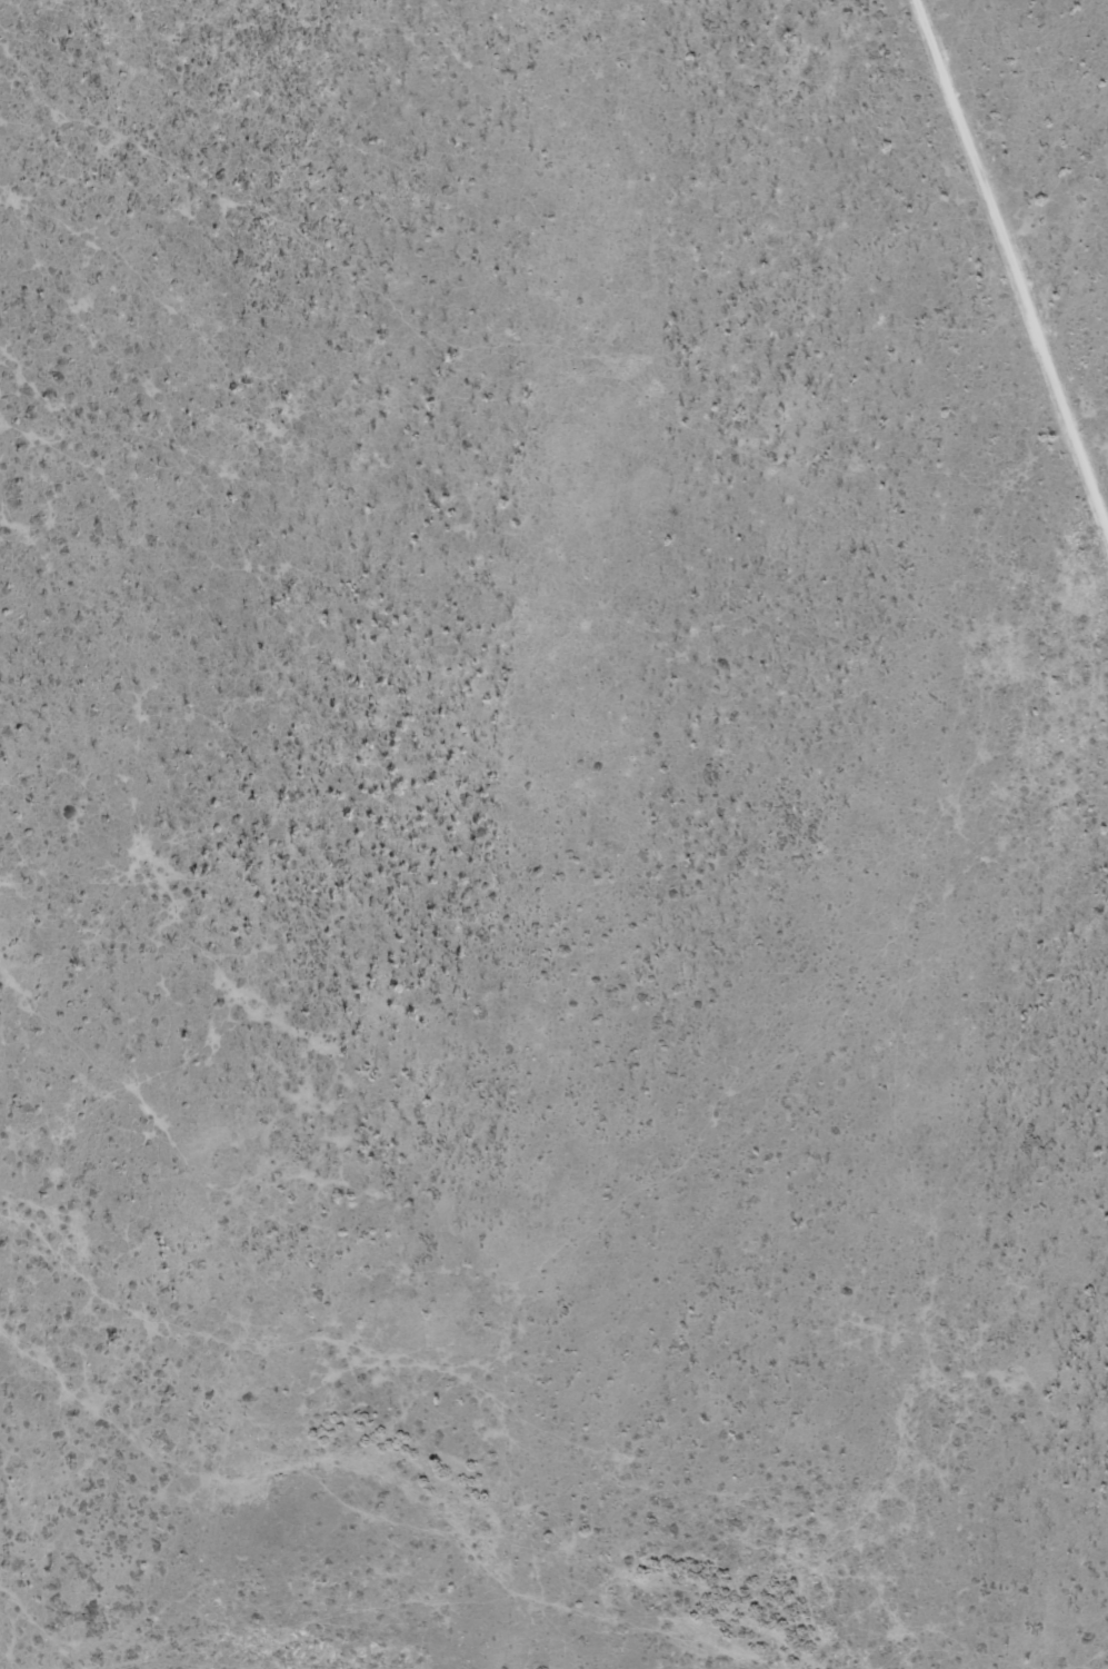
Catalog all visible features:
road: (1019, 258)

